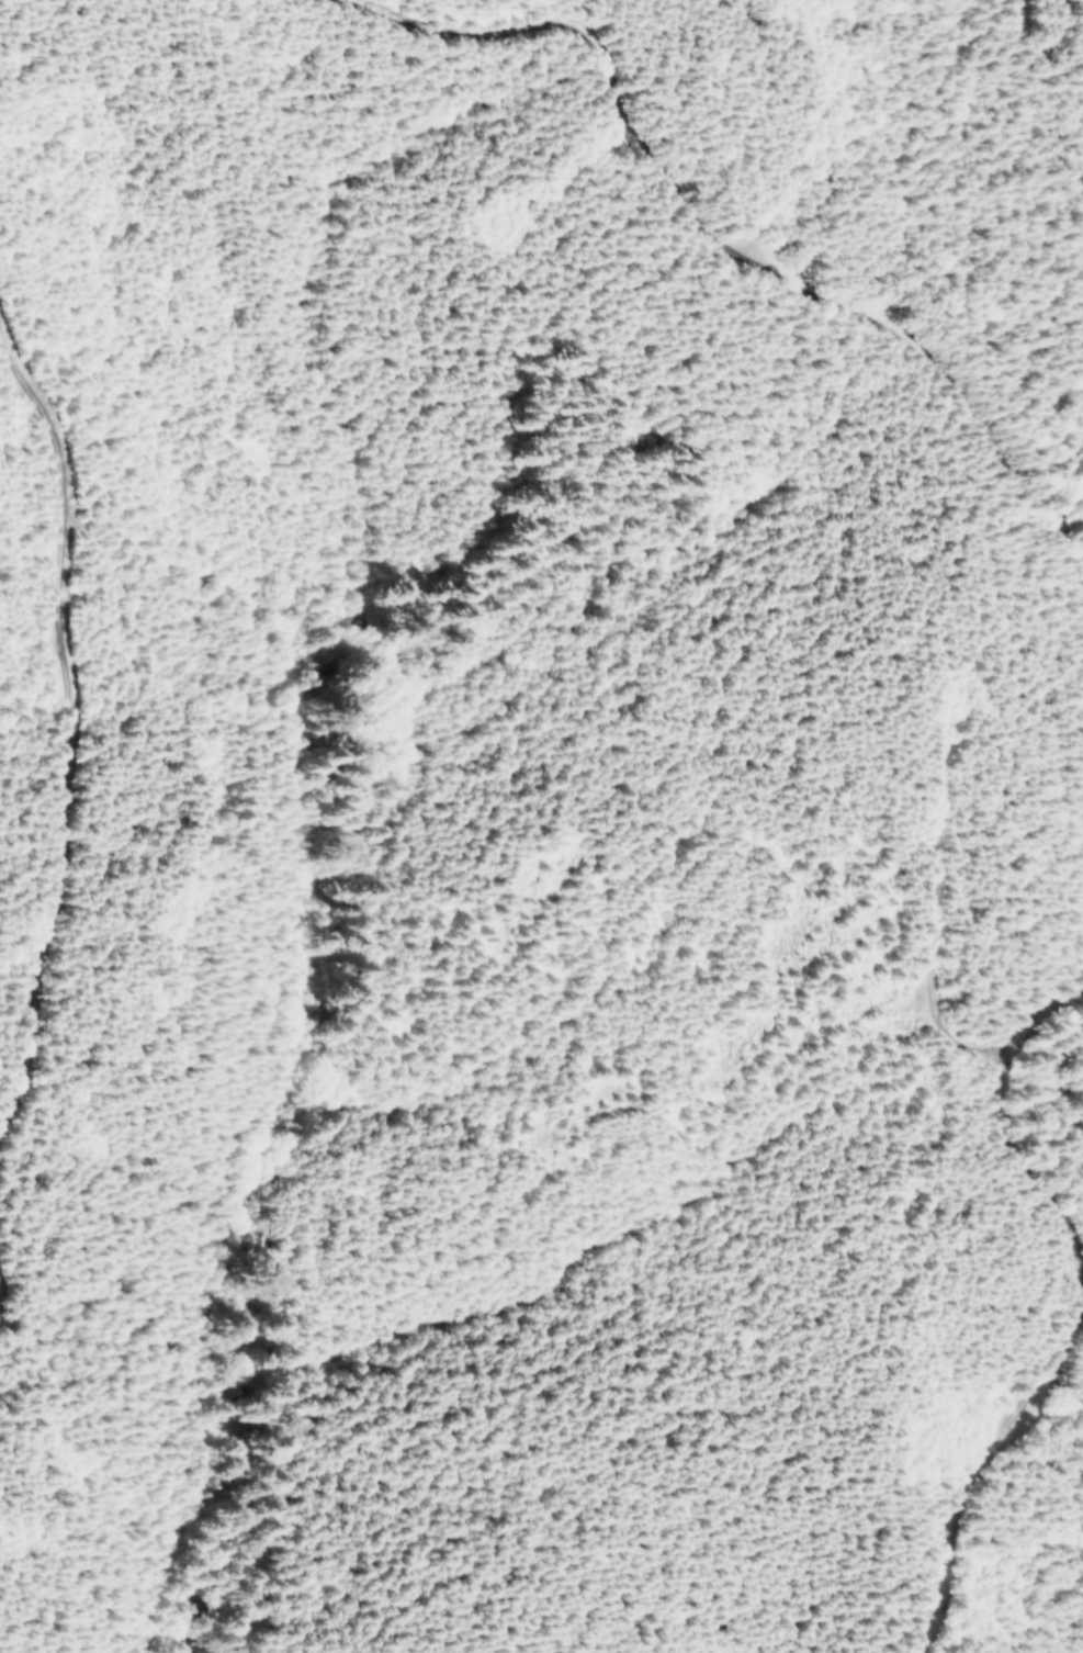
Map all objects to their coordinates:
road: (821, 233)

